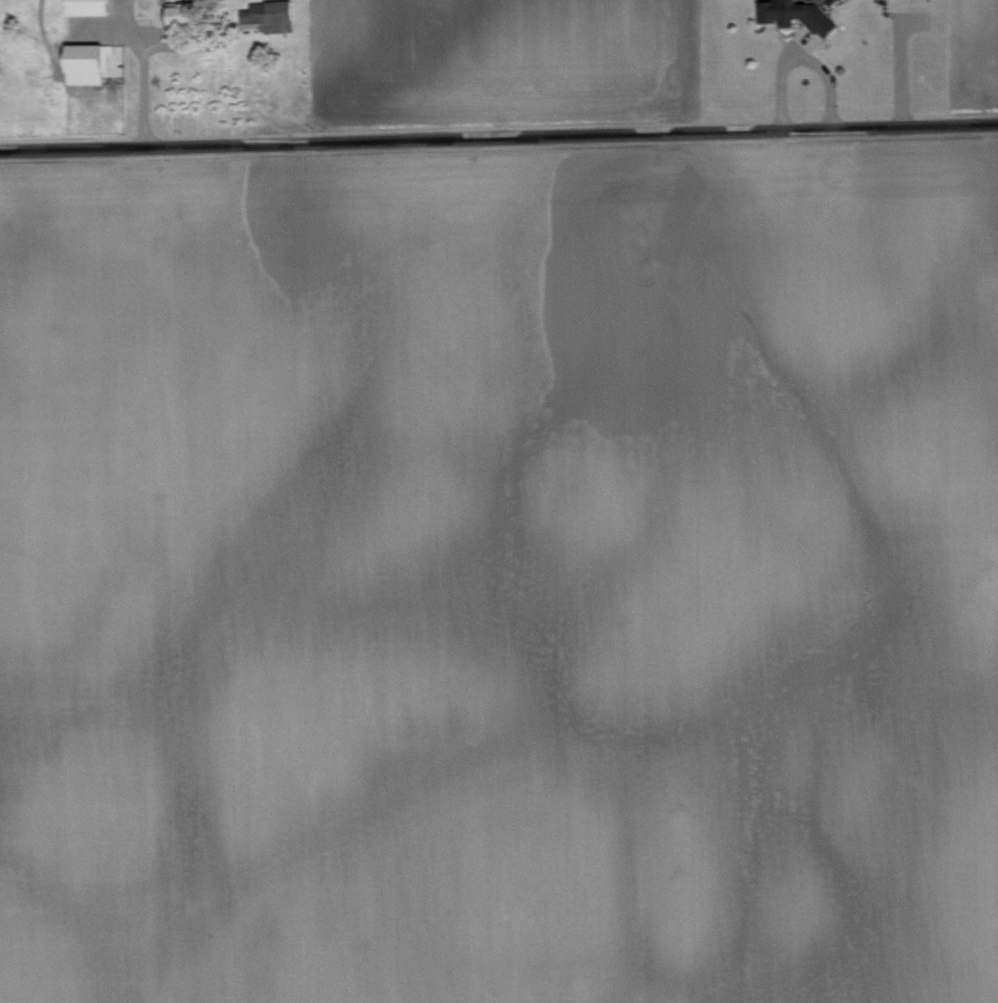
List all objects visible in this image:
building: (87, 6)
building: (270, 14)
building: (798, 14)
road: (799, 54)
road: (141, 76)
road: (499, 138)

